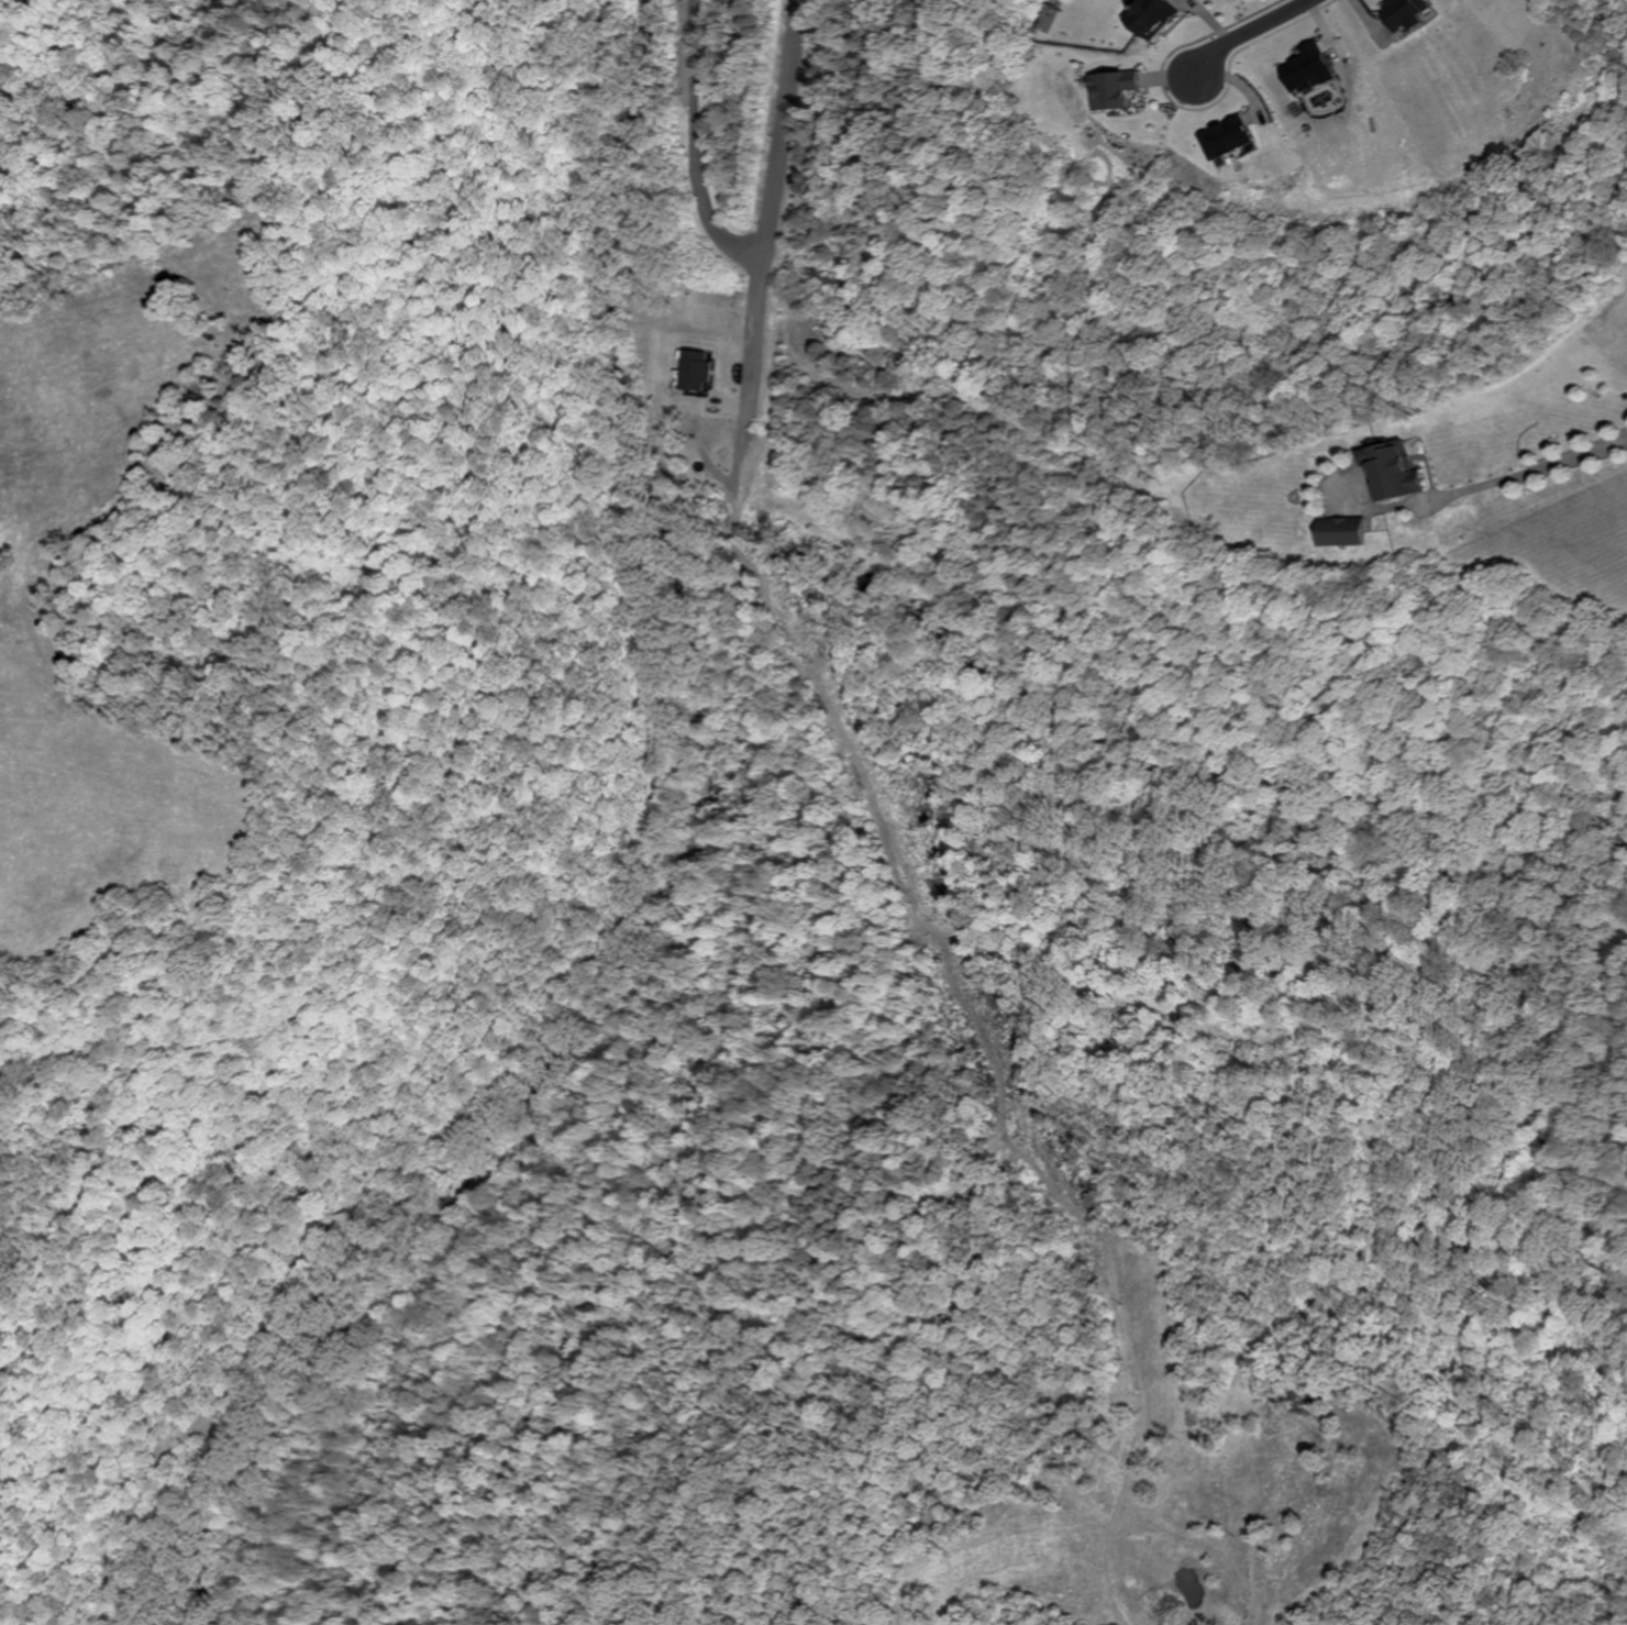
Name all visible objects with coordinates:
building: (1398, 12)
building: (1148, 16)
road: (1244, 31)
building: (1302, 67)
building: (1111, 88)
building: (1221, 136)
road: (697, 146)
road: (771, 211)
building: (1388, 471)
road: (1487, 484)
building: (1338, 530)
road: (1131, 734)
road: (697, 1059)

